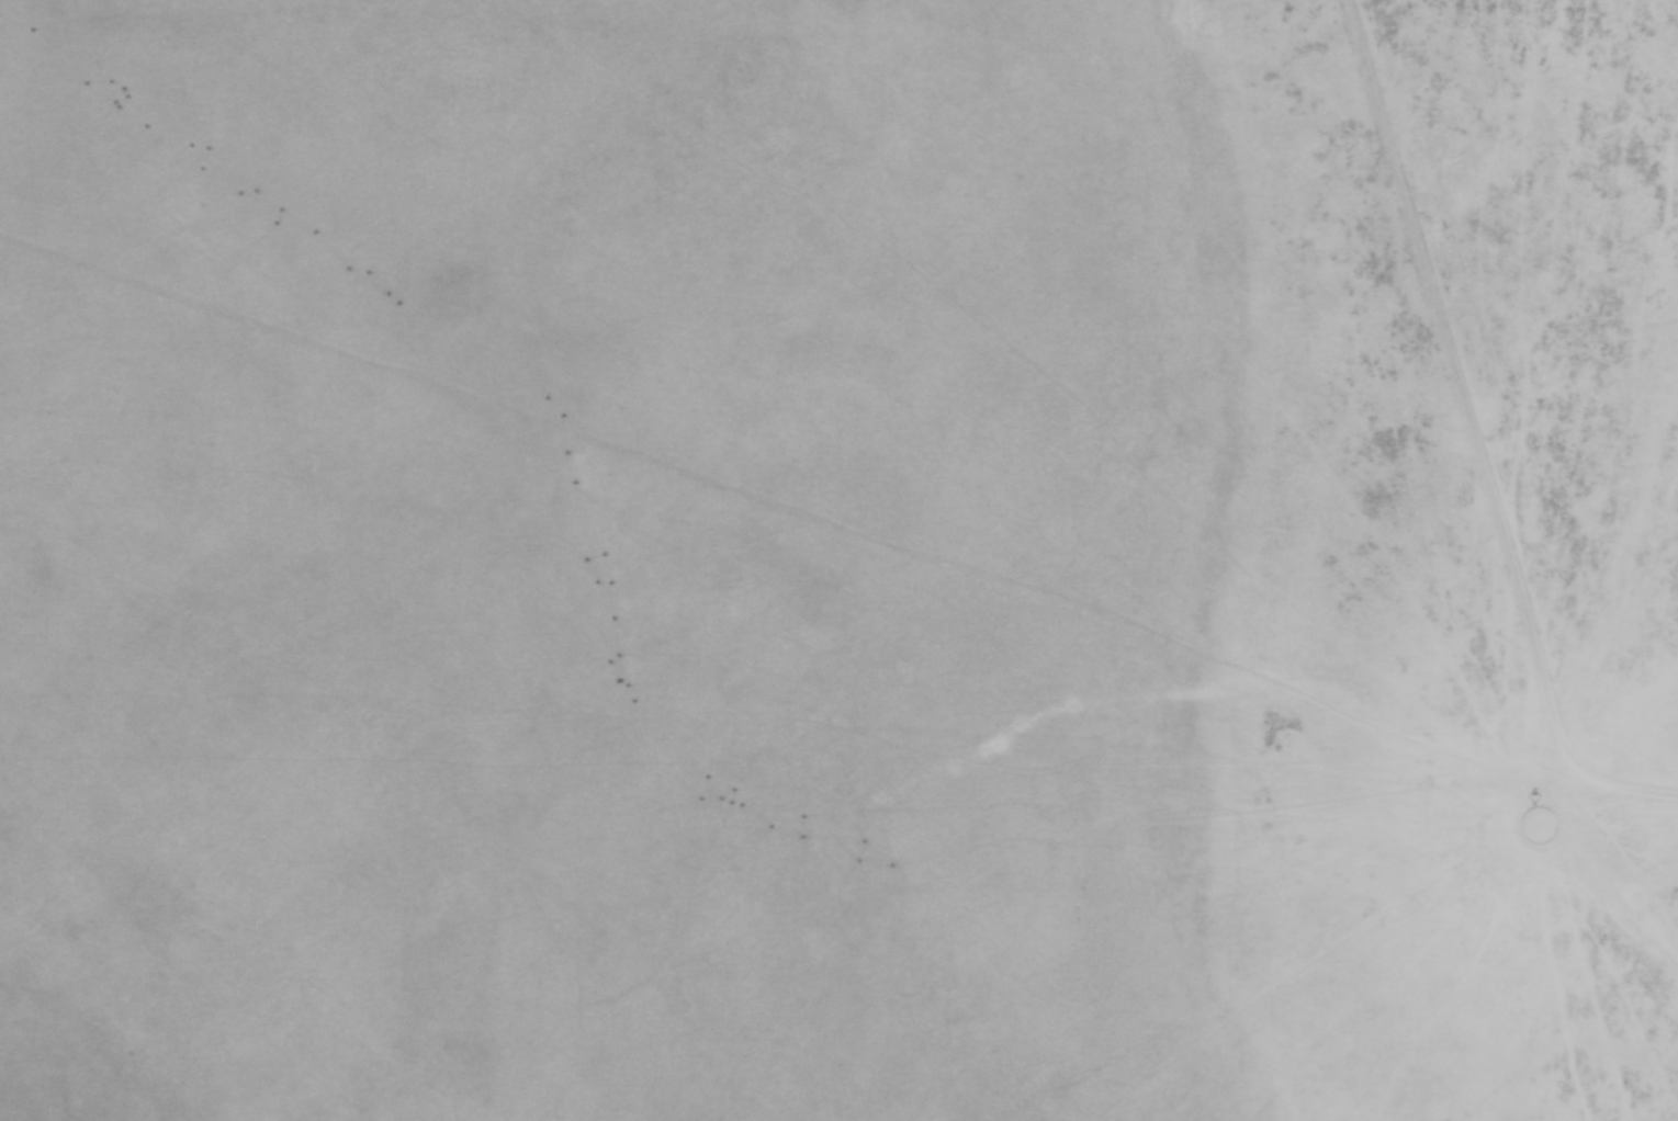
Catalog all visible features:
road: (1469, 437)
building: (1535, 823)
storage tank: (1535, 823)

